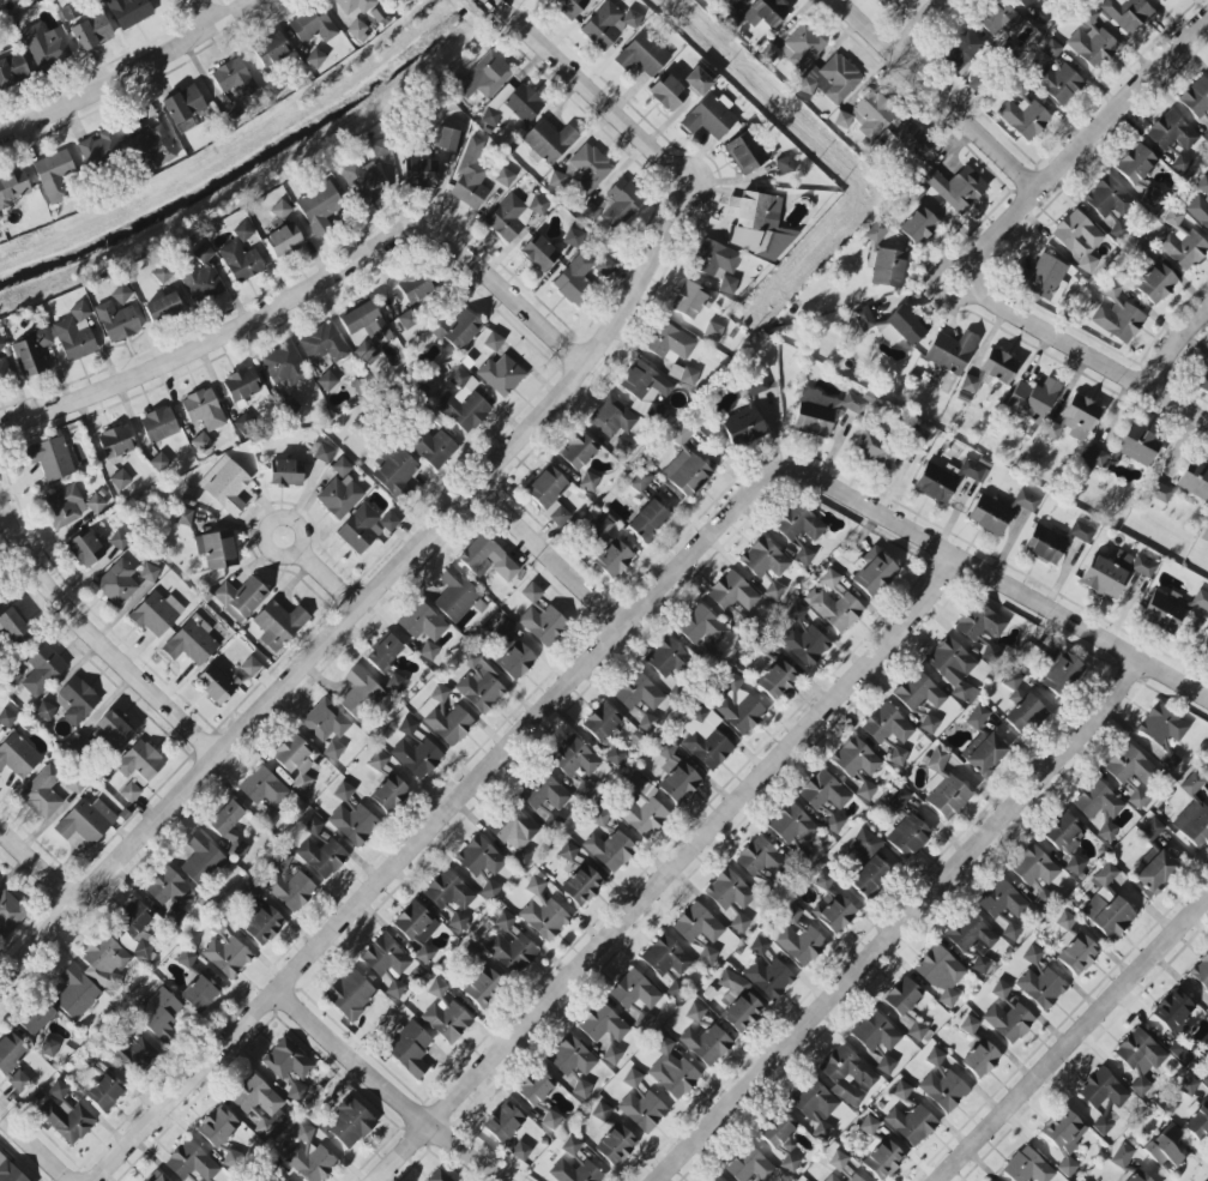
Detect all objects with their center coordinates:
building: (599, 0)
building: (1045, 0)
building: (727, 1)
building: (880, 1)
building: (1164, 1)
building: (1025, 2)
building: (355, 5)
building: (569, 6)
building: (0, 7)
building: (128, 12)
road: (204, 12)
building: (765, 13)
building: (1127, 13)
building: (1001, 20)
building: (312, 25)
building: (608, 25)
road: (919, 25)
building: (357, 29)
building: (91, 32)
building: (1091, 41)
building: (46, 46)
building: (802, 47)
building: (271, 49)
building: (961, 50)
building: (642, 55)
building: (316, 58)
building: (11, 68)
road: (129, 74)
building: (488, 74)
building: (1058, 77)
building: (234, 79)
building: (828, 80)
building: (696, 82)
building: (457, 85)
road: (597, 91)
building: (668, 92)
road: (943, 94)
building: (1196, 98)
building: (512, 106)
building: (183, 109)
building: (872, 112)
building: (232, 113)
building: (709, 116)
building: (1023, 118)
building: (1171, 132)
building: (1206, 132)
building: (449, 139)
building: (911, 139)
building: (548, 141)
building: (98, 147)
building: (152, 147)
road: (1086, 149)
building: (744, 152)
building: (1180, 163)
building: (1135, 164)
building: (587, 169)
building: (421, 173)
building: (54, 175)
building: (470, 176)
building: (505, 177)
building: (363, 182)
building: (1203, 185)
building: (13, 188)
building: (956, 188)
building: (1107, 198)
building: (620, 201)
building: (318, 207)
building: (280, 210)
building: (935, 210)
building: (1198, 210)
building: (513, 215)
building: (753, 218)
building: (918, 225)
building: (242, 231)
building: (876, 231)
building: (572, 237)
building: (1079, 239)
building: (284, 240)
building: (1182, 246)
building: (539, 253)
building: (714, 258)
building: (240, 263)
building: (603, 266)
building: (887, 266)
building: (162, 273)
building: (201, 277)
road: (931, 278)
building: (1046, 278)
building: (574, 279)
building: (1155, 283)
building: (405, 285)
building: (419, 293)
road: (505, 294)
building: (162, 307)
building: (1117, 315)
building: (117, 317)
building: (863, 319)
building: (406, 320)
building: (366, 323)
building: (905, 326)
building: (455, 329)
building: (713, 331)
building: (74, 333)
road: (217, 338)
building: (669, 343)
building: (322, 344)
road: (1174, 347)
building: (950, 351)
building: (31, 353)
building: (366, 353)
road: (1087, 353)
building: (283, 366)
building: (998, 366)
building: (501, 375)
building: (327, 381)
building: (971, 382)
building: (1203, 382)
building: (241, 385)
building: (645, 388)
building: (751, 388)
building: (1032, 399)
building: (463, 403)
building: (288, 406)
building: (204, 410)
building: (821, 411)
building: (611, 417)
building: (1074, 420)
building: (158, 424)
building: (743, 427)
building: (201, 442)
building: (117, 446)
building: (1137, 446)
building: (433, 447)
building: (578, 451)
building: (875, 451)
building: (321, 453)
building: (1093, 457)
building: (50, 458)
building: (158, 462)
building: (685, 464)
building: (340, 468)
building: (972, 470)
building: (394, 472)
building: (285, 474)
building: (120, 480)
building: (639, 480)
building: (588, 481)
building: (1194, 481)
building: (935, 483)
building: (225, 486)
building: (546, 488)
building: (1159, 492)
building: (340, 496)
building: (95, 504)
building: (64, 506)
building: (998, 511)
building: (183, 517)
building: (647, 520)
building: (602, 525)
building: (363, 528)
building: (799, 530)
building: (1081, 532)
building: (1204, 534)
building: (119, 541)
building: (1044, 546)
building: (85, 549)
building: (217, 549)
road: (286, 556)
building: (487, 559)
road: (546, 559)
building: (612, 559)
building: (763, 559)
building: (1143, 566)
building: (149, 573)
building: (875, 573)
building: (1106, 574)
building: (829, 579)
road: (1001, 579)
road: (328, 582)
building: (117, 583)
building: (774, 591)
building: (732, 592)
building: (455, 595)
building: (240, 597)
building: (1201, 599)
road: (368, 601)
building: (834, 609)
building: (796, 613)
building: (1162, 613)
building: (156, 614)
building: (539, 617)
building: (422, 622)
building: (979, 622)
building: (278, 625)
building: (701, 626)
building: (14, 627)
road: (95, 640)
building: (191, 644)
building: (1204, 644)
building: (804, 645)
building: (383, 652)
building: (709, 652)
building: (991, 652)
building: (666, 657)
building: (515, 663)
building: (250, 665)
building: (953, 668)
building: (42, 670)
building: (1061, 674)
building: (777, 680)
building: (395, 682)
building: (217, 683)
building: (481, 685)
building: (918, 692)
building: (638, 693)
building: (360, 694)
building: (75, 700)
building: (738, 705)
building: (1021, 706)
building: (44, 711)
building: (699, 715)
building: (445, 716)
building: (977, 717)
building: (6, 718)
building: (326, 721)
building: (602, 722)
building: (647, 724)
building: (929, 724)
building: (887, 725)
building: (1161, 725)
building: (406, 727)
building: (111, 733)
building: (79, 743)
building: (708, 747)
building: (984, 753)
building: (18, 755)
building: (617, 757)
building: (898, 757)
building: (417, 758)
building: (574, 758)
building: (295, 760)
building: (377, 761)
building: (140, 764)
building: (857, 764)
building: (1130, 766)
building: (676, 775)
building: (1192, 784)
building: (262, 787)
building: (943, 787)
building: (585, 789)
building: (129, 791)
building: (823, 791)
building: (42, 793)
building: (389, 795)
building: (545, 797)
building: (898, 800)
building: (1137, 800)
building: (1097, 801)
building: (642, 808)
building: (270, 817)
building: (599, 817)
road: (442, 820)
building: (86, 821)
building: (834, 824)
building: (1194, 824)
building: (313, 826)
building: (229, 827)
building: (793, 830)
building: (1107, 830)
building: (1150, 830)
building: (910, 833)
building: (1064, 833)
building: (518, 836)
building: (864, 843)
building: (609, 850)
building: (568, 851)
building: (756, 856)
building: (322, 857)
building: (479, 857)
building: (201, 858)
building: (282, 860)
building: (1075, 866)
road: (41, 867)
building: (1033, 867)
road: (670, 868)
building: (1156, 872)
building: (1106, 874)
building: (869, 876)
building: (823, 881)
building: (580, 887)
building: (168, 888)
building: (290, 890)
building: (490, 890)
building: (448, 891)
building: (729, 891)
building: (248, 892)
building: (1043, 898)
building: (1002, 900)
building: (542, 911)
building: (10, 914)
building: (791, 914)
building: (174, 915)
building: (836, 915)
building: (1107, 916)
road: (900, 920)
building: (503, 921)
building: (1065, 921)
building: (457, 922)
building: (739, 923)
building: (697, 924)
building: (262, 927)
building: (135, 929)
building: (417, 929)
building: (1011, 930)
building: (971, 934)
building: (801, 944)
building: (759, 946)
building: (512, 952)
building: (470, 953)
building: (1032, 954)
building: (1077, 954)
building: (707, 956)
building: (226, 957)
building: (186, 958)
building: (385, 959)
building: (104, 962)
building: (668, 963)
building: (980, 965)
building: (1201, 972)
building: (941, 974)
building: (768, 977)
building: (483, 987)
building: (1041, 988)
building: (395, 989)
building: (1001, 990)
building: (75, 993)
building: (199, 993)
building: (350, 994)
building: (635, 996)
building: (901, 996)
building: (737, 1001)
building: (1207, 1011)
building: (695, 1012)
building: (1173, 1012)
building: (158, 1013)
building: (445, 1014)
building: (36, 1018)
building: (1008, 1022)
building: (602, 1024)
building: (968, 1025)
building: (917, 1031)
building: (875, 1032)
road: (1073, 1036)
building: (706, 1043)
building: (49, 1048)
building: (409, 1048)
building: (11, 1053)
building: (611, 1055)
building: (92, 1056)
building: (137, 1058)
building: (570, 1058)
building: (935, 1058)
building: (980, 1059)
building: (1140, 1059)
building: (286, 1060)
building: (886, 1065)
building: (671, 1071)
building: (847, 1074)
building: (632, 1078)
building: (1206, 1079)
building: (18, 1081)
building: (1189, 1086)
building: (533, 1087)
road: (398, 1089)
building: (581, 1089)
building: (58, 1090)
building: (901, 1090)
building: (943, 1090)
building: (1101, 1090)
building: (104, 1092)
building: (296, 1092)
building: (259, 1104)
building: (814, 1104)
building: (642, 1110)
building: (600, 1111)
building: (66, 1120)
building: (550, 1120)
building: (502, 1122)
building: (349, 1123)
building: (1198, 1123)
building: (869, 1125)
building: (911, 1125)
building: (1103, 1125)
building: (217, 1127)
building: (303, 1133)
building: (1064, 1137)
building: (780, 1140)
road: (37, 1143)
building: (615, 1146)
building: (1165, 1146)
building: (520, 1151)
building: (1122, 1156)
building: (232, 1158)
building: (882, 1159)
building: (838, 1161)
building: (191, 1162)
building: (309, 1162)
building: (574, 1165)
building: (749, 1165)
building: (271, 1167)
building: (1027, 1167)
building: (10, 1171)
building: (439, 1176)
building: (1137, 1176)
building: (156, 1177)
building: (853, 1177)
building: (276, 1179)
building: (714, 1179)
building: (830, 1179)

